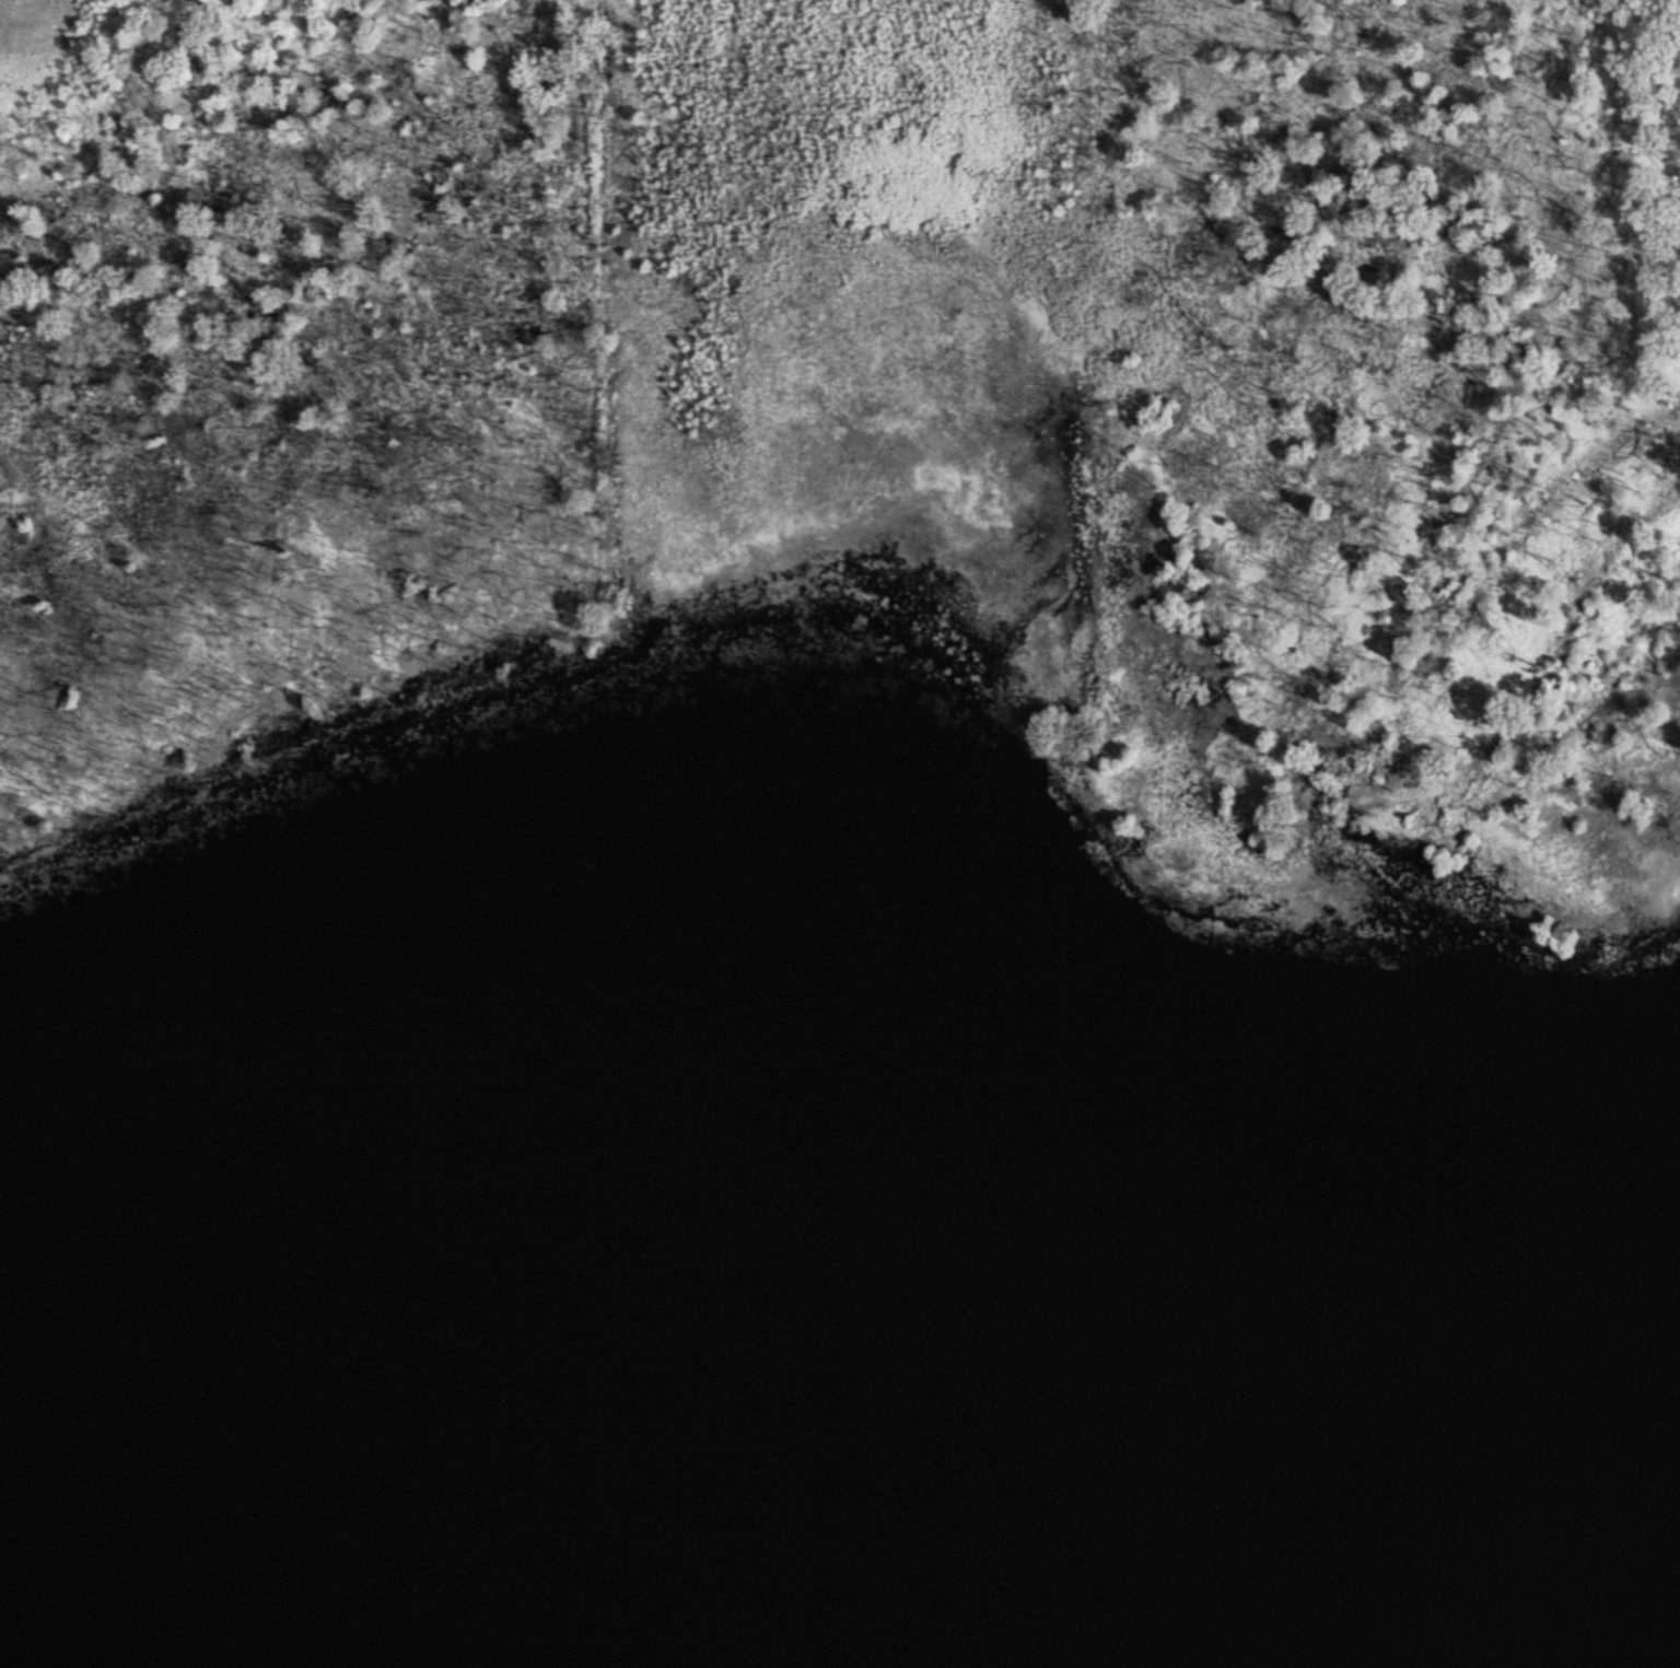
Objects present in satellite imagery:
river: (833, 1413)

